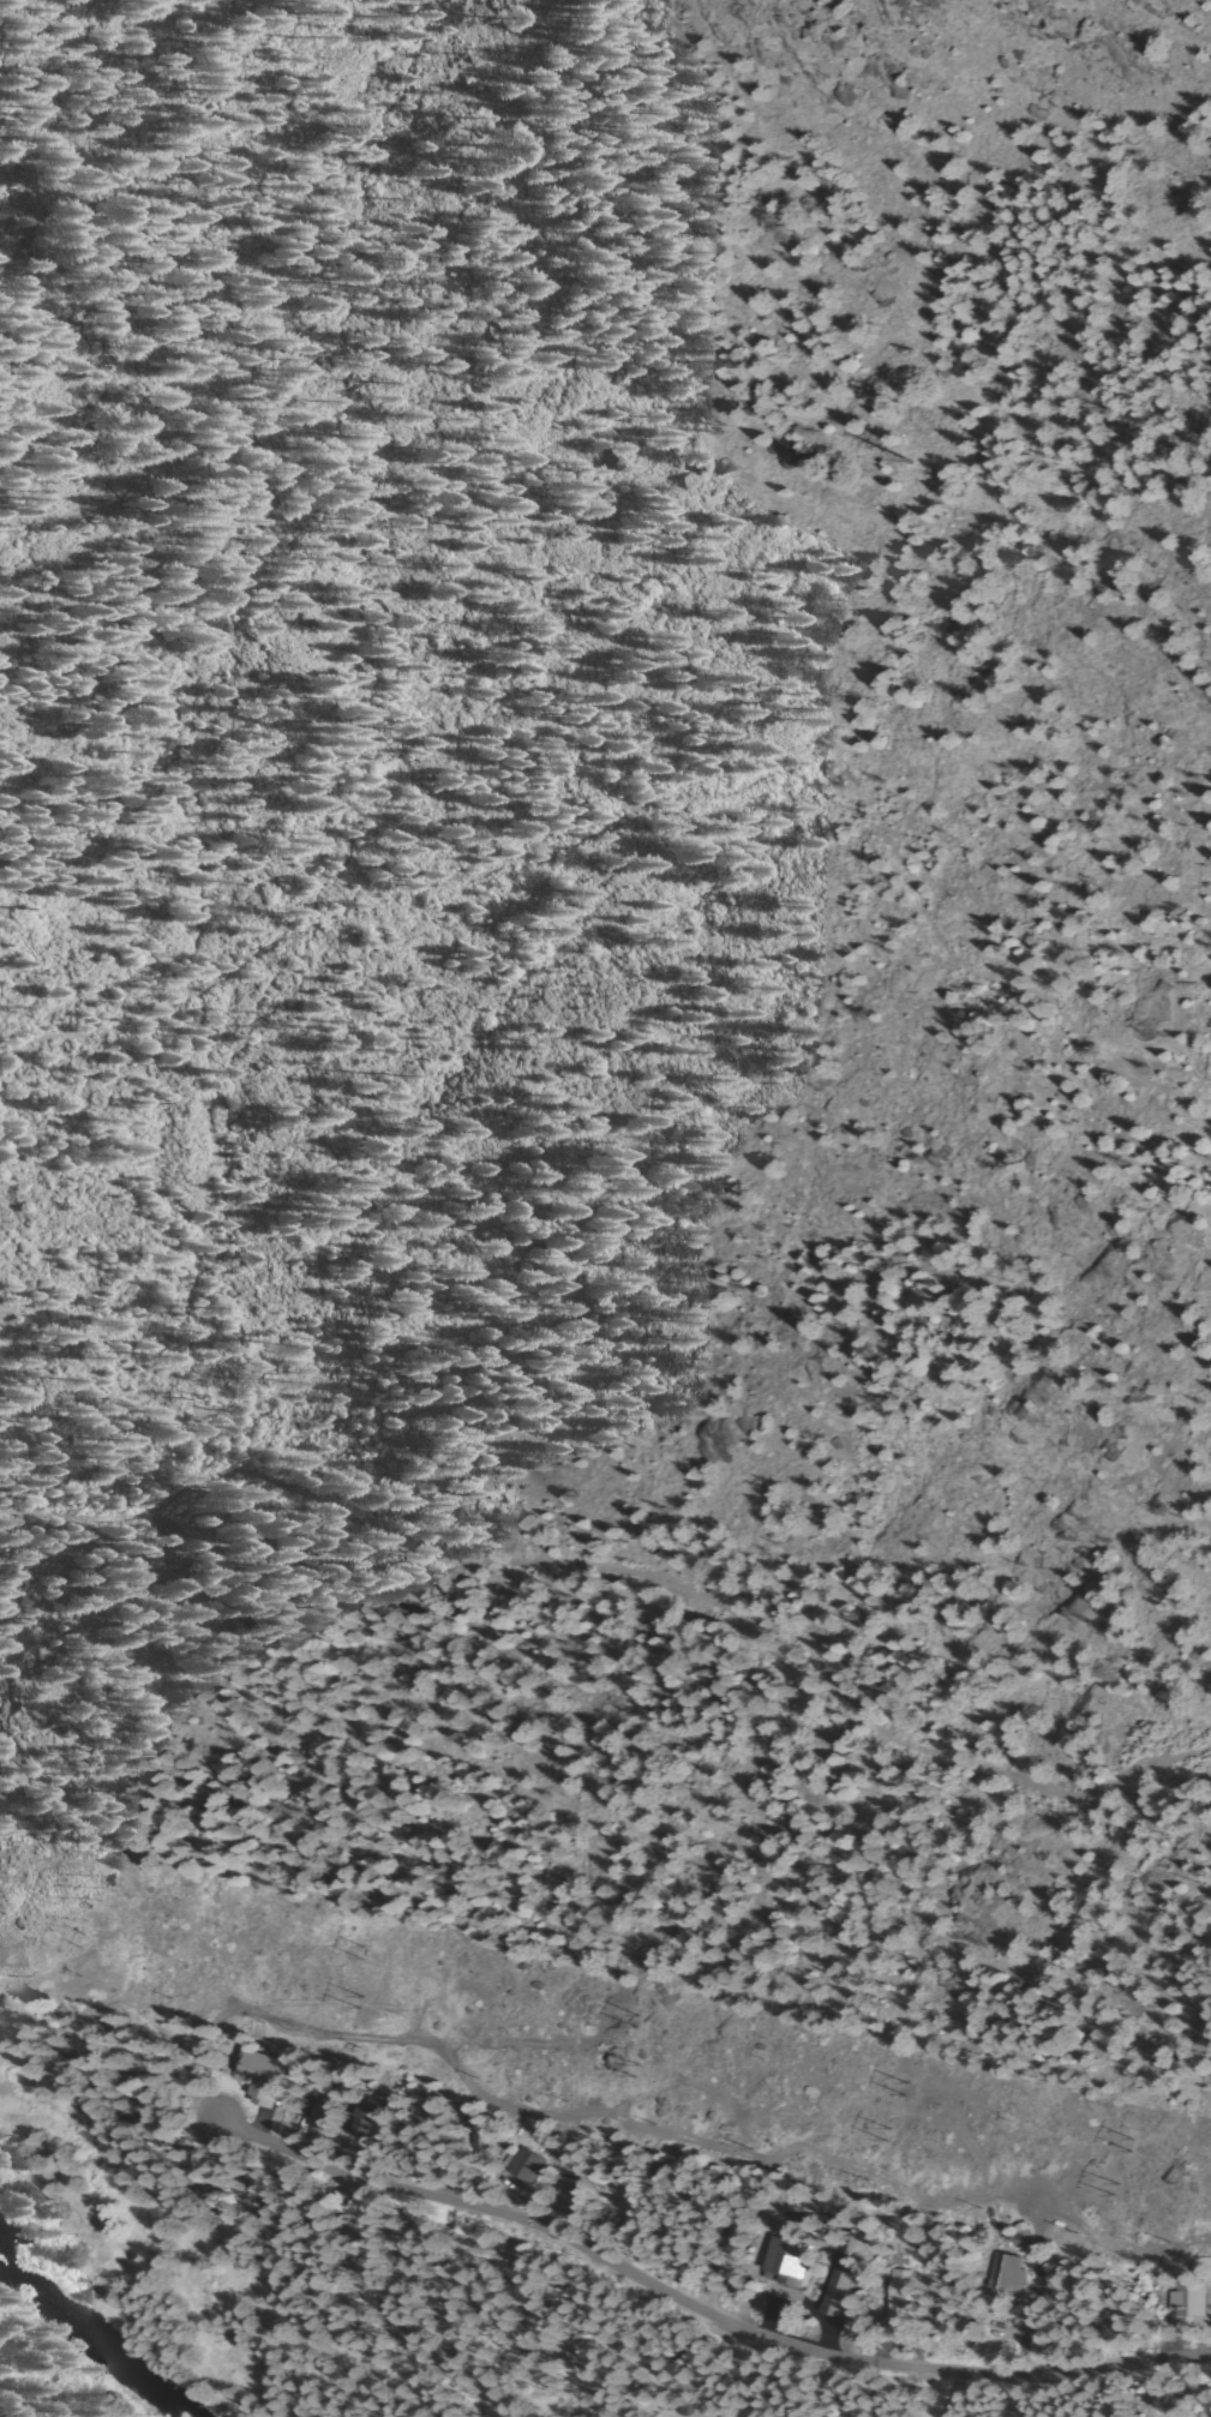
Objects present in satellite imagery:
power tower: (97, 1887)
power tower: (83, 1936)
power tower: (361, 1950)
power tower: (349, 1997)
power tower: (641, 2023)
power tower: (630, 2069)
power tower: (898, 2087)
power tower: (887, 2131)
power tower: (1131, 2141)
power tower: (1120, 2191)
river: (115, 2241)
building: (1198, 2263)
building: (1020, 2274)
building: (1185, 2299)
road: (699, 2310)

